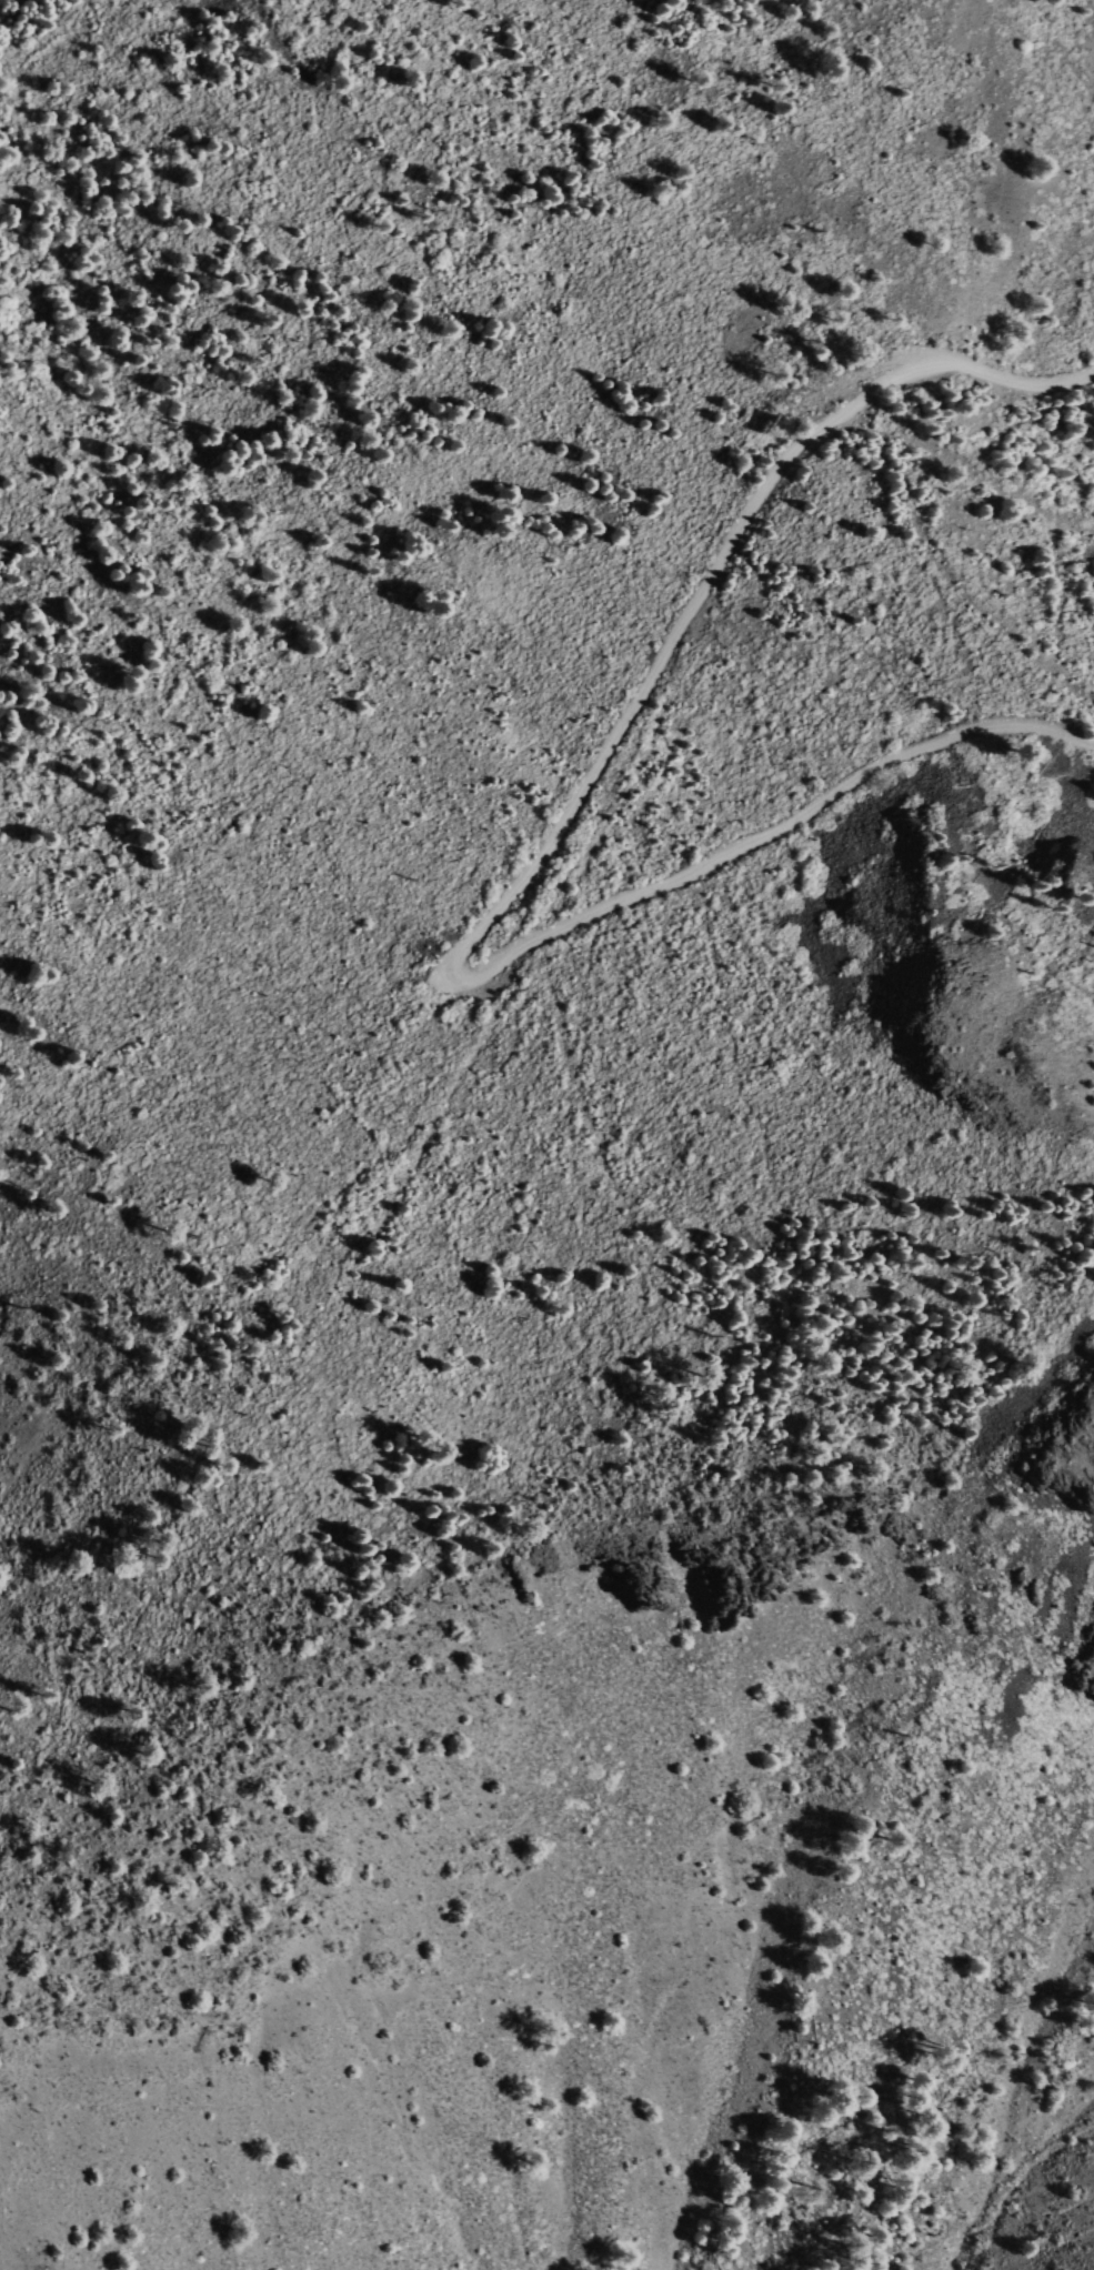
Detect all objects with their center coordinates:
road: (526, 871)

